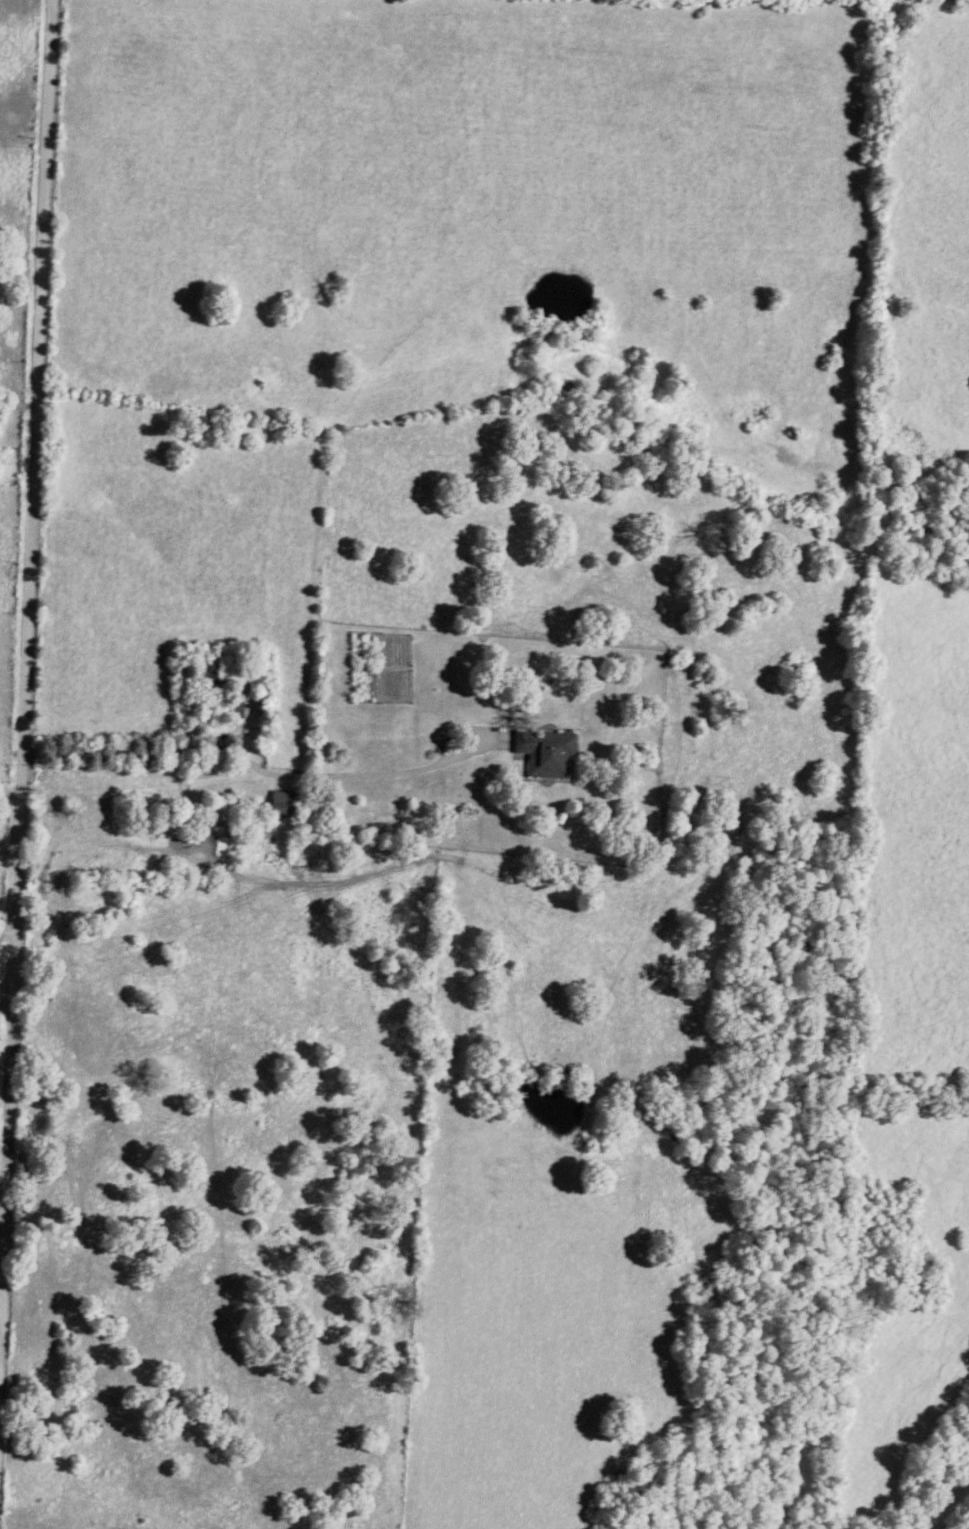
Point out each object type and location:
building: (208, 682)
road: (24, 688)
building: (229, 712)
road: (134, 753)
building: (544, 756)
road: (372, 776)
road: (10, 798)
building: (281, 807)
road: (8, 938)

